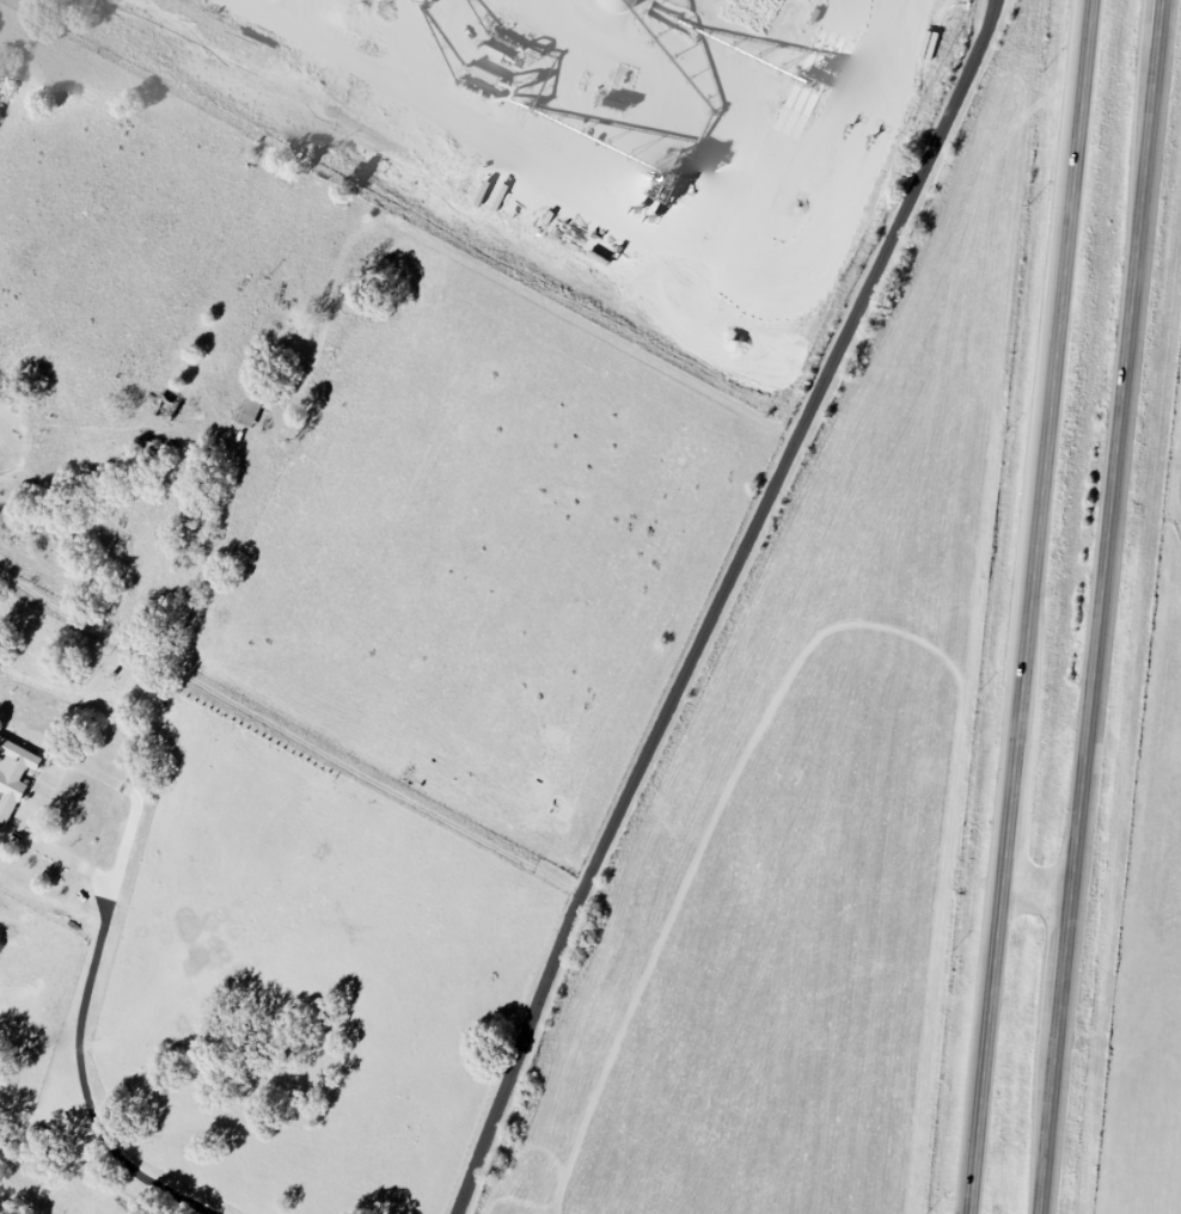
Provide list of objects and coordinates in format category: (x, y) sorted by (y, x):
building: (672, 177)
road: (494, 277)
road: (723, 603)
road: (1030, 606)
road: (1101, 606)
building: (13, 775)
road: (1039, 889)
road: (80, 1041)

